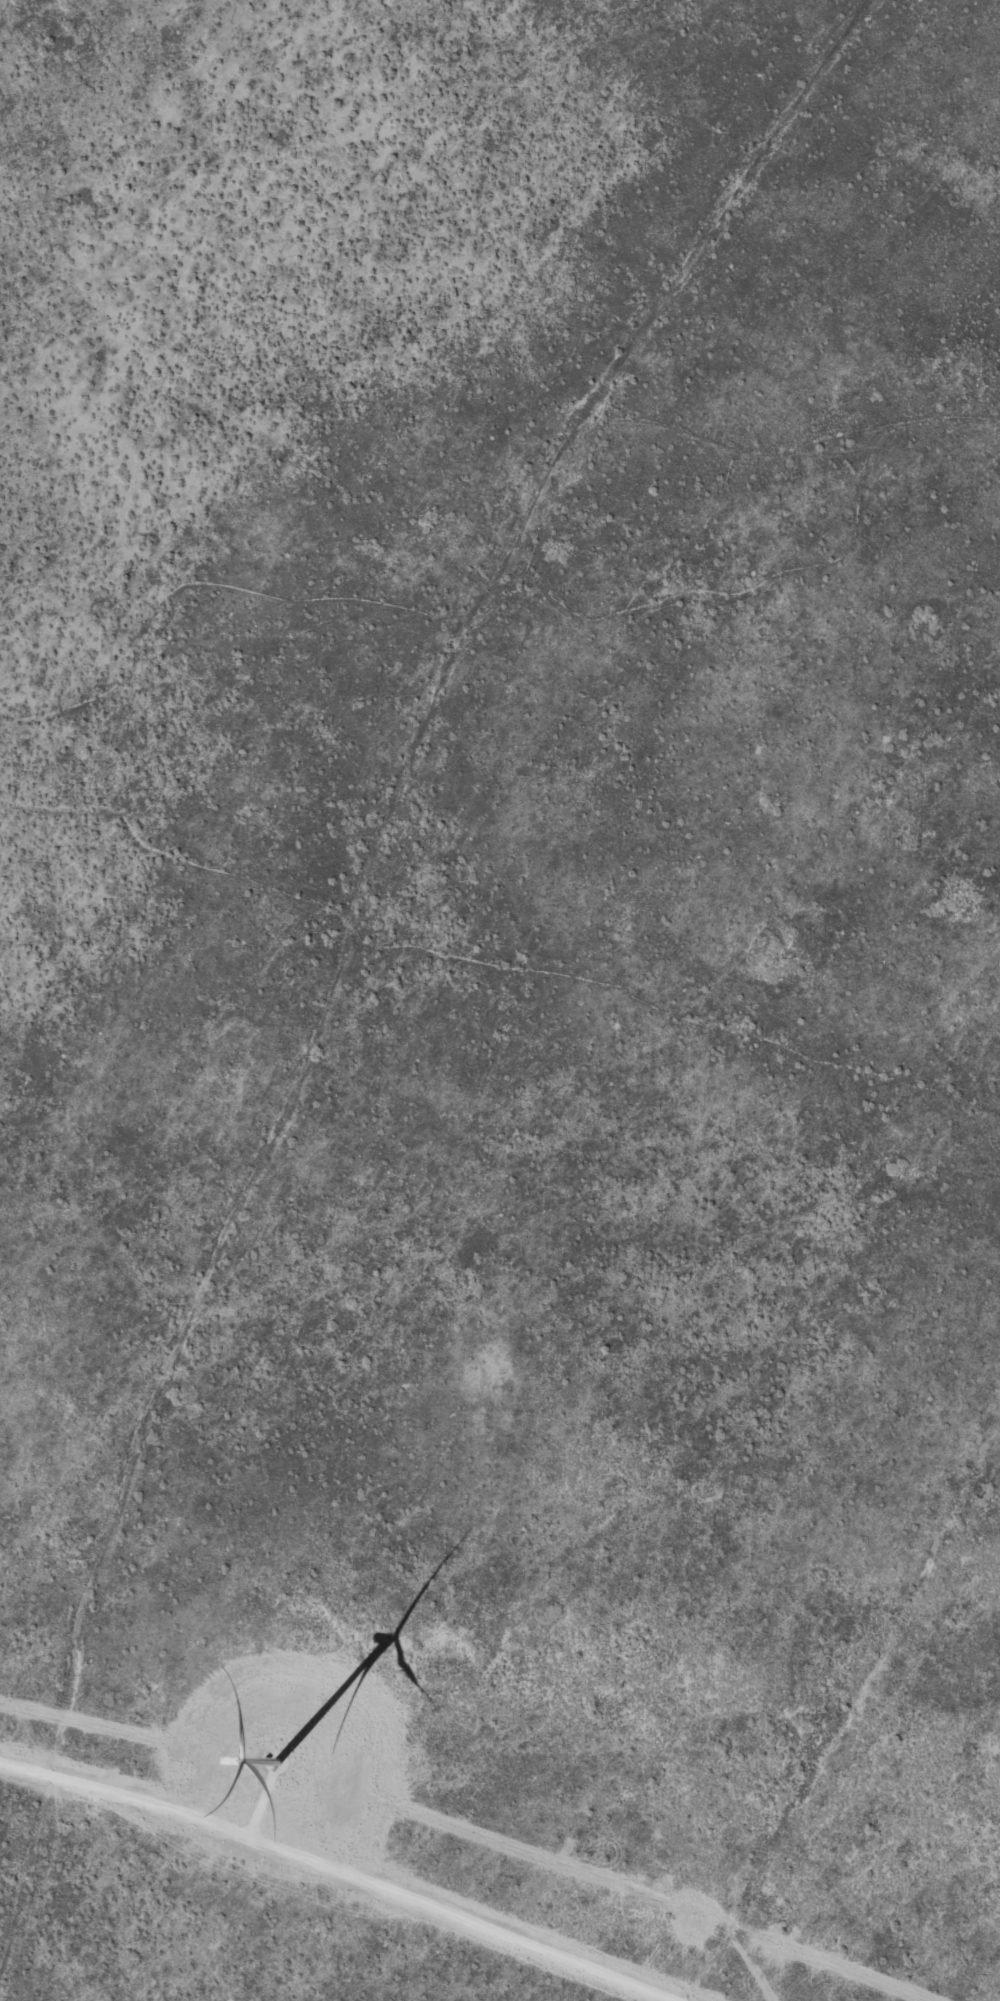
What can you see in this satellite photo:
wind turbine: (258, 1766)

